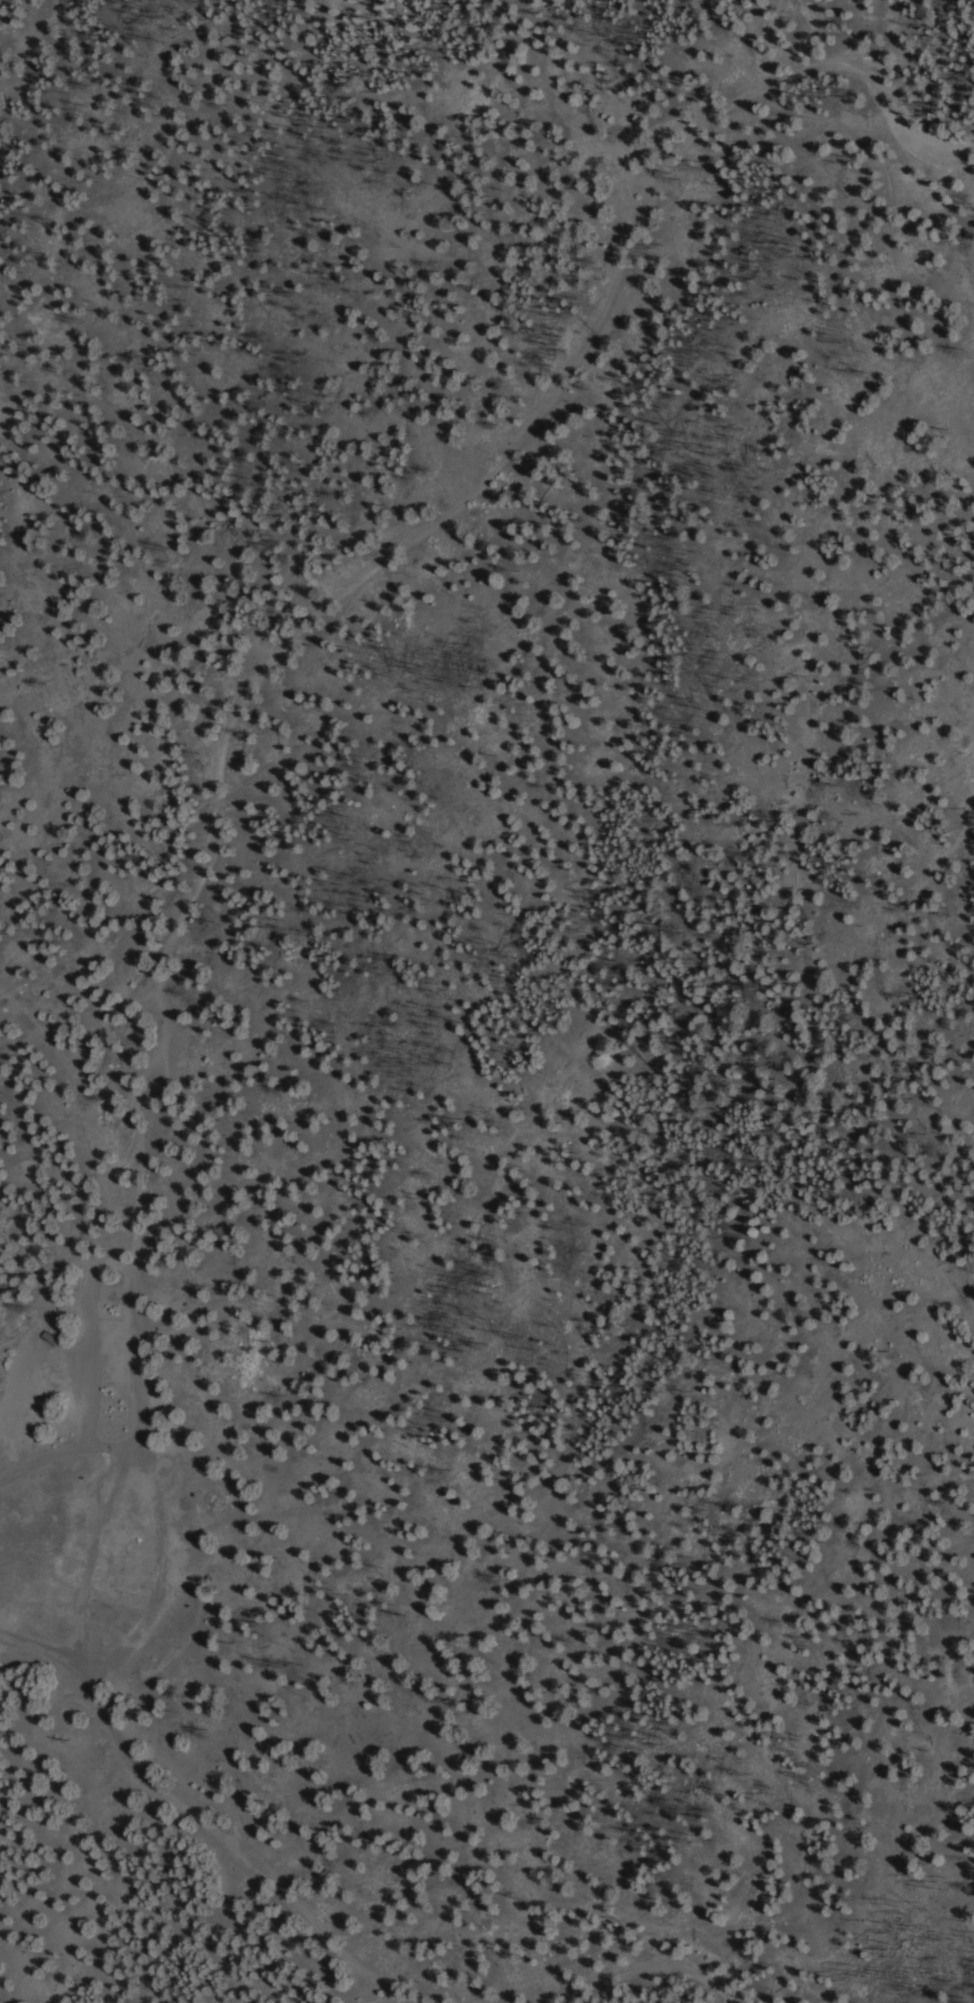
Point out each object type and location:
road: (205, 1820)
road: (653, 1974)

